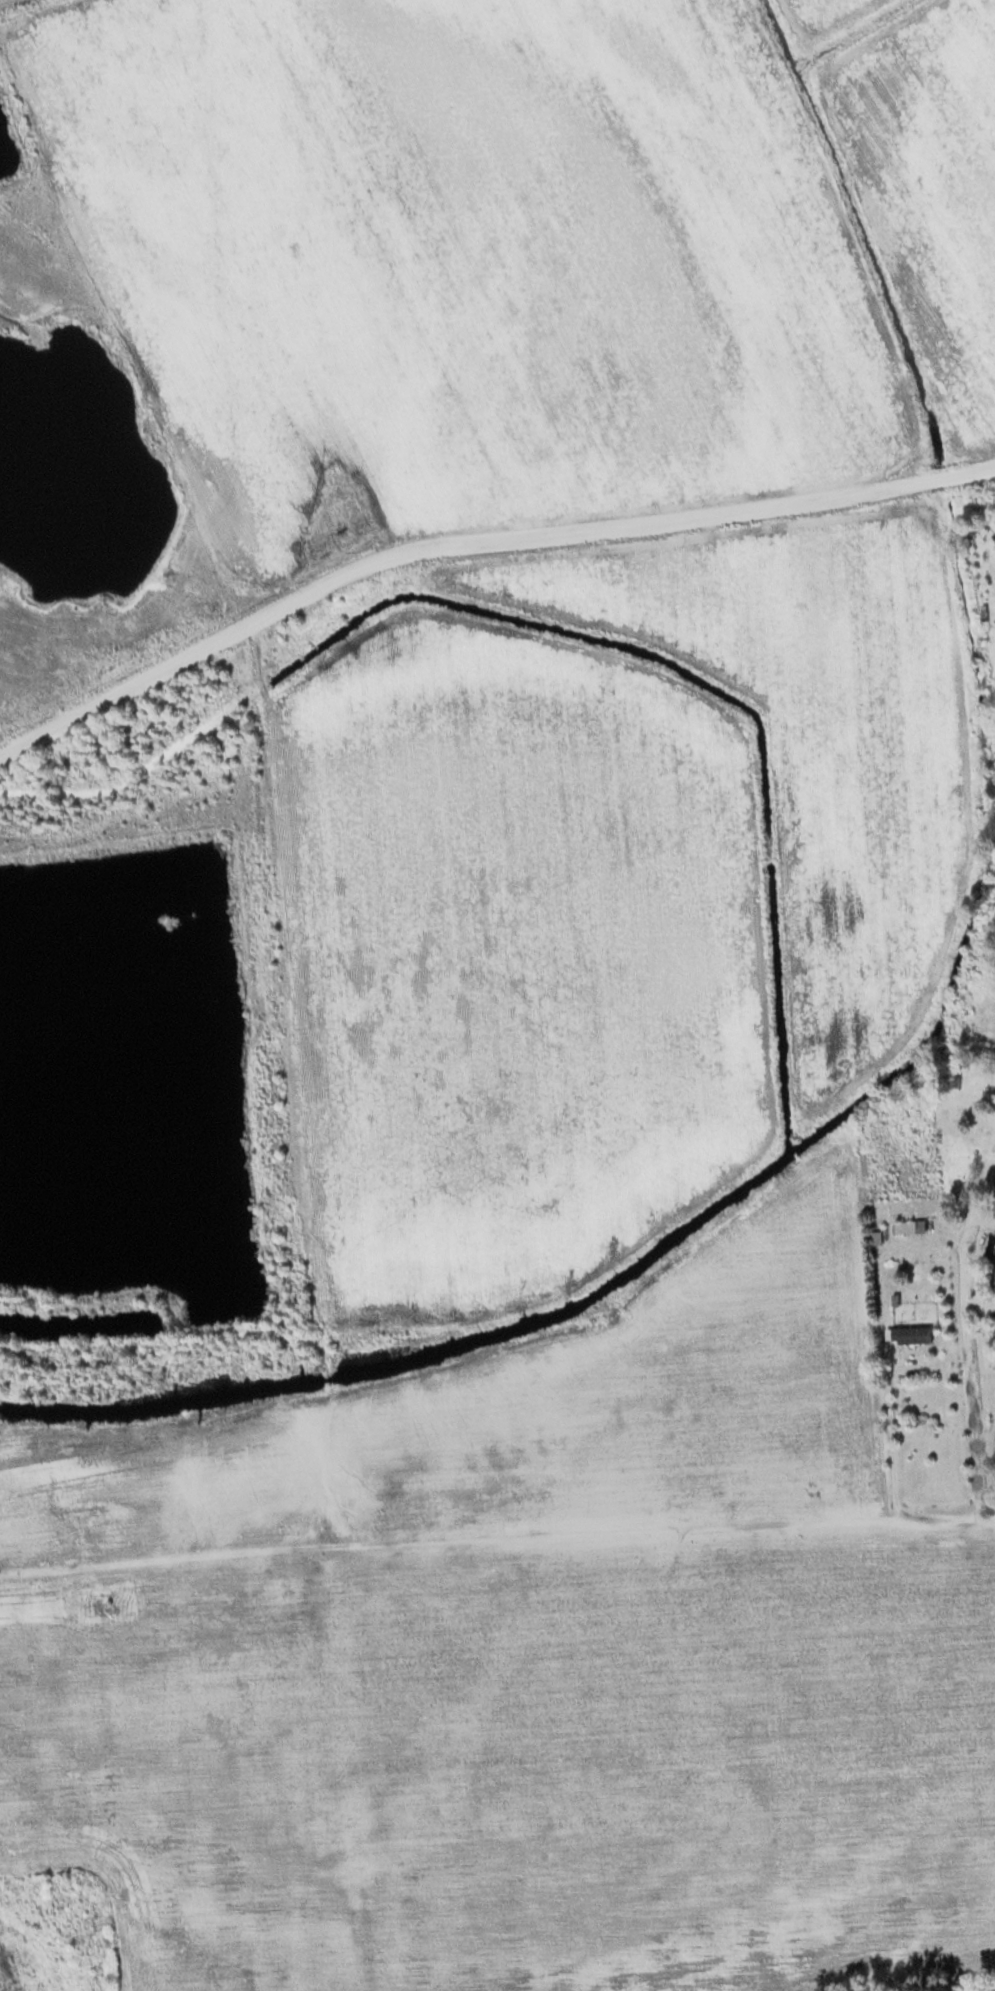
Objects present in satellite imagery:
road: (255, 771)
building: (992, 1097)
building: (994, 1191)
building: (908, 1225)
building: (991, 1256)
road: (965, 1324)
building: (907, 1333)
road: (880, 1338)
building: (994, 1454)
road: (666, 1521)
road: (169, 1553)

